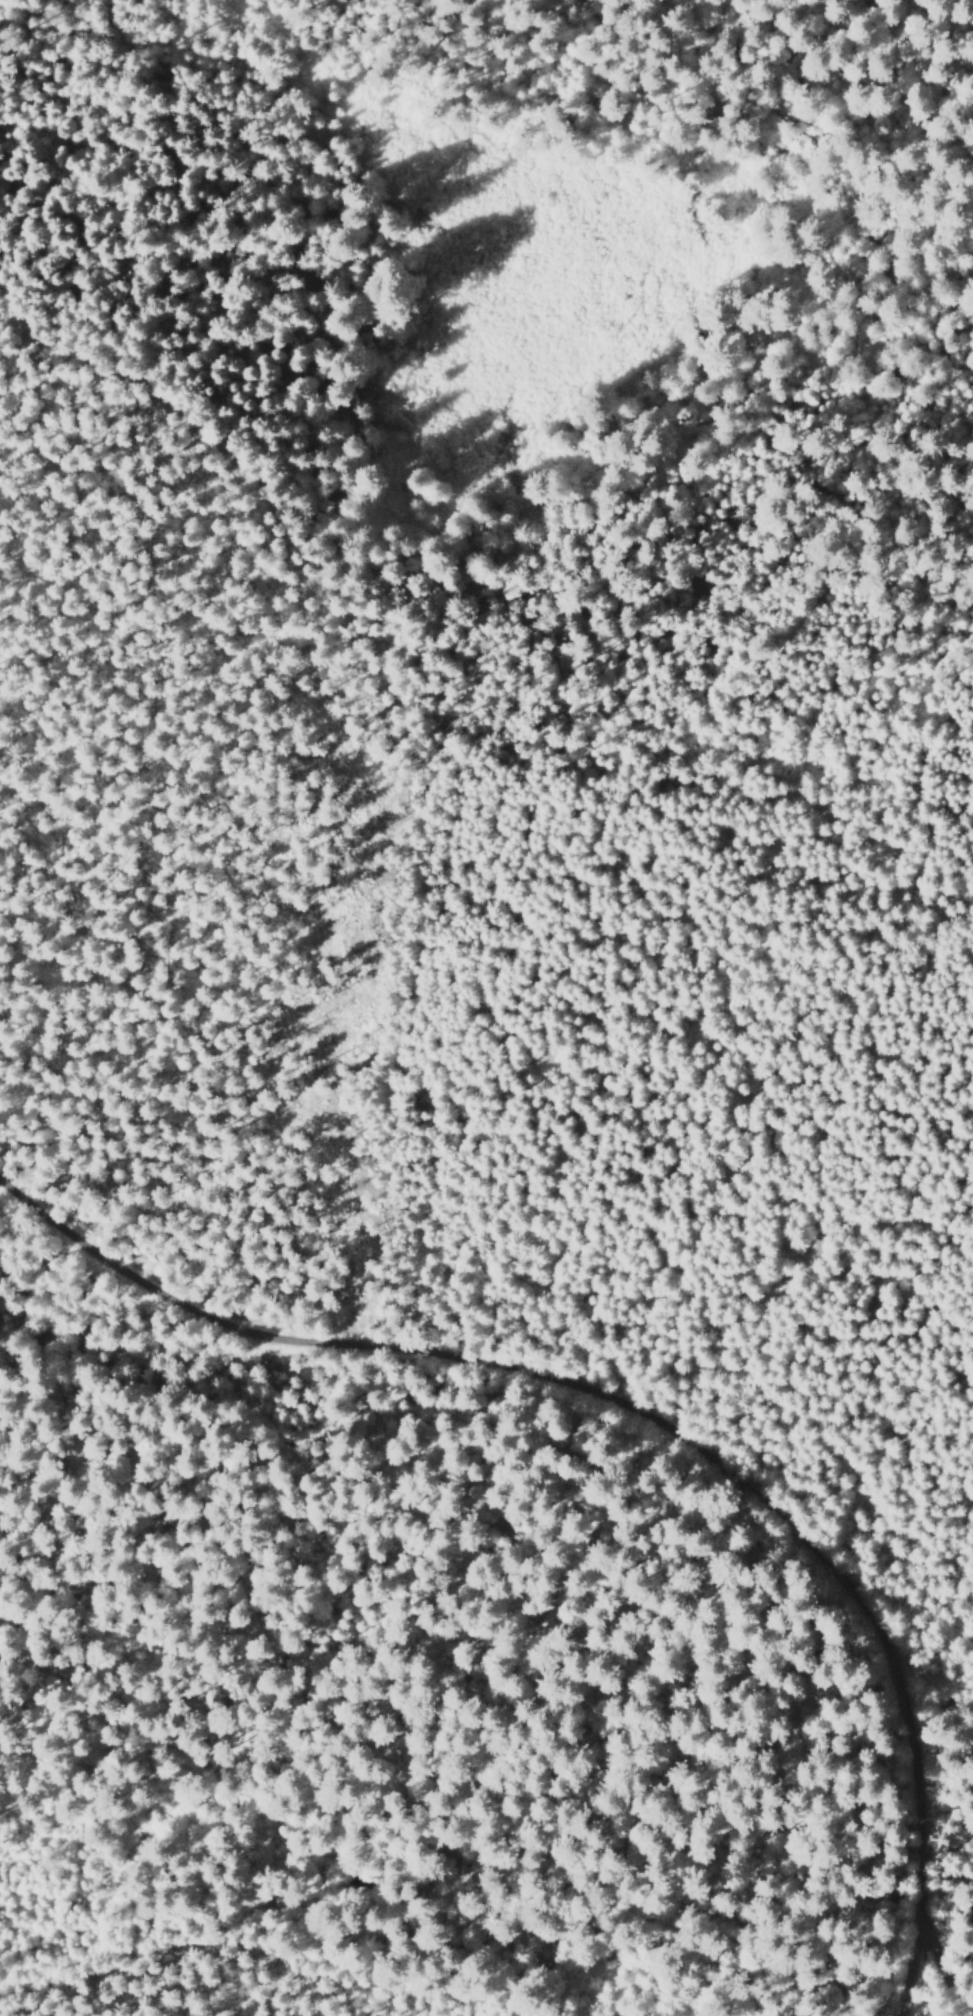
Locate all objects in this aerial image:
road: (651, 1421)
road: (916, 1957)

